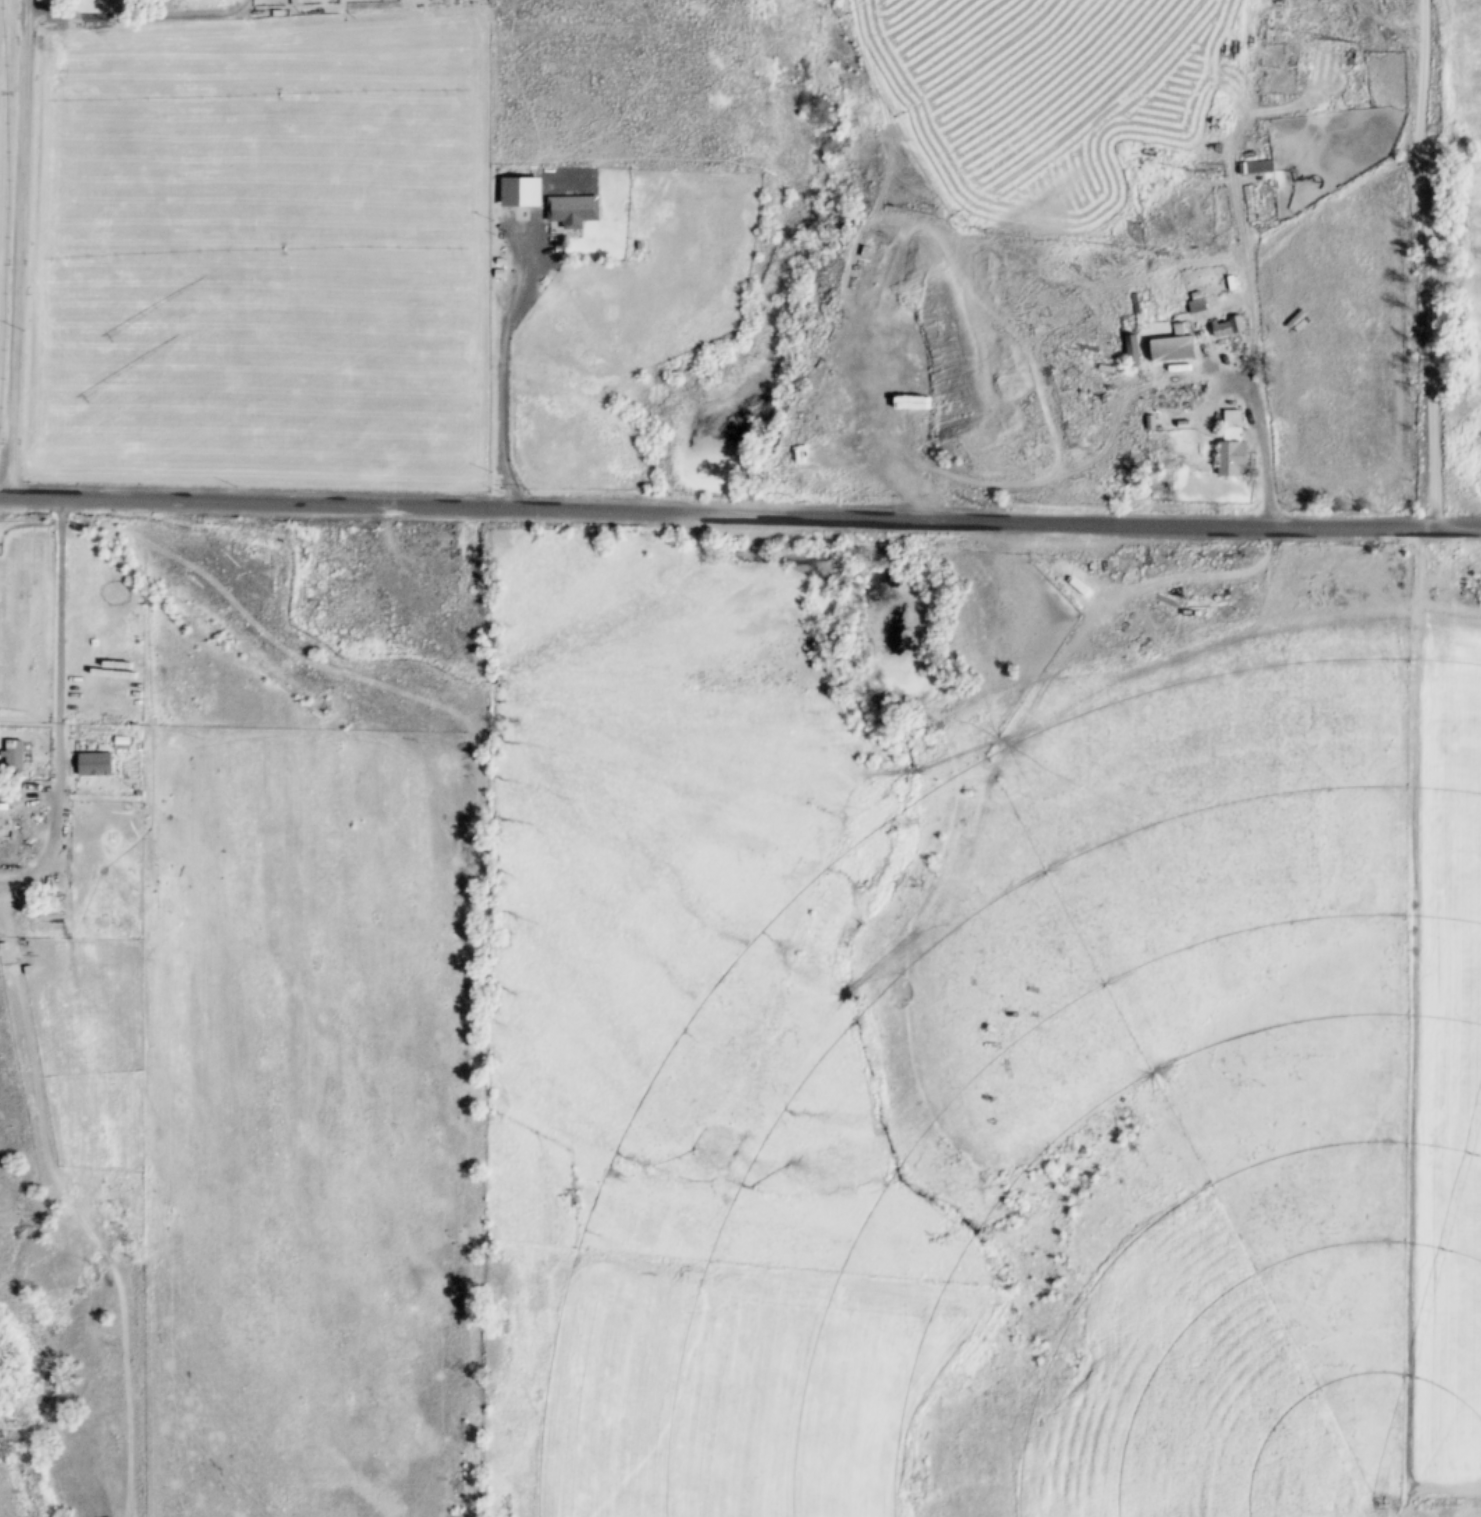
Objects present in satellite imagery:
building: (1257, 168)
building: (520, 192)
building: (573, 210)
road: (11, 240)
road: (1242, 262)
building: (1228, 329)
road: (1033, 349)
building: (1172, 350)
building: (1133, 352)
road: (504, 361)
road: (834, 392)
building: (1232, 447)
road: (1073, 471)
road: (740, 514)
road: (1252, 609)
road: (55, 694)
building: (121, 742)
road: (1048, 744)
building: (12, 752)
building: (94, 764)
building: (138, 793)
road: (8, 878)
road: (1414, 1023)
road: (69, 1197)

